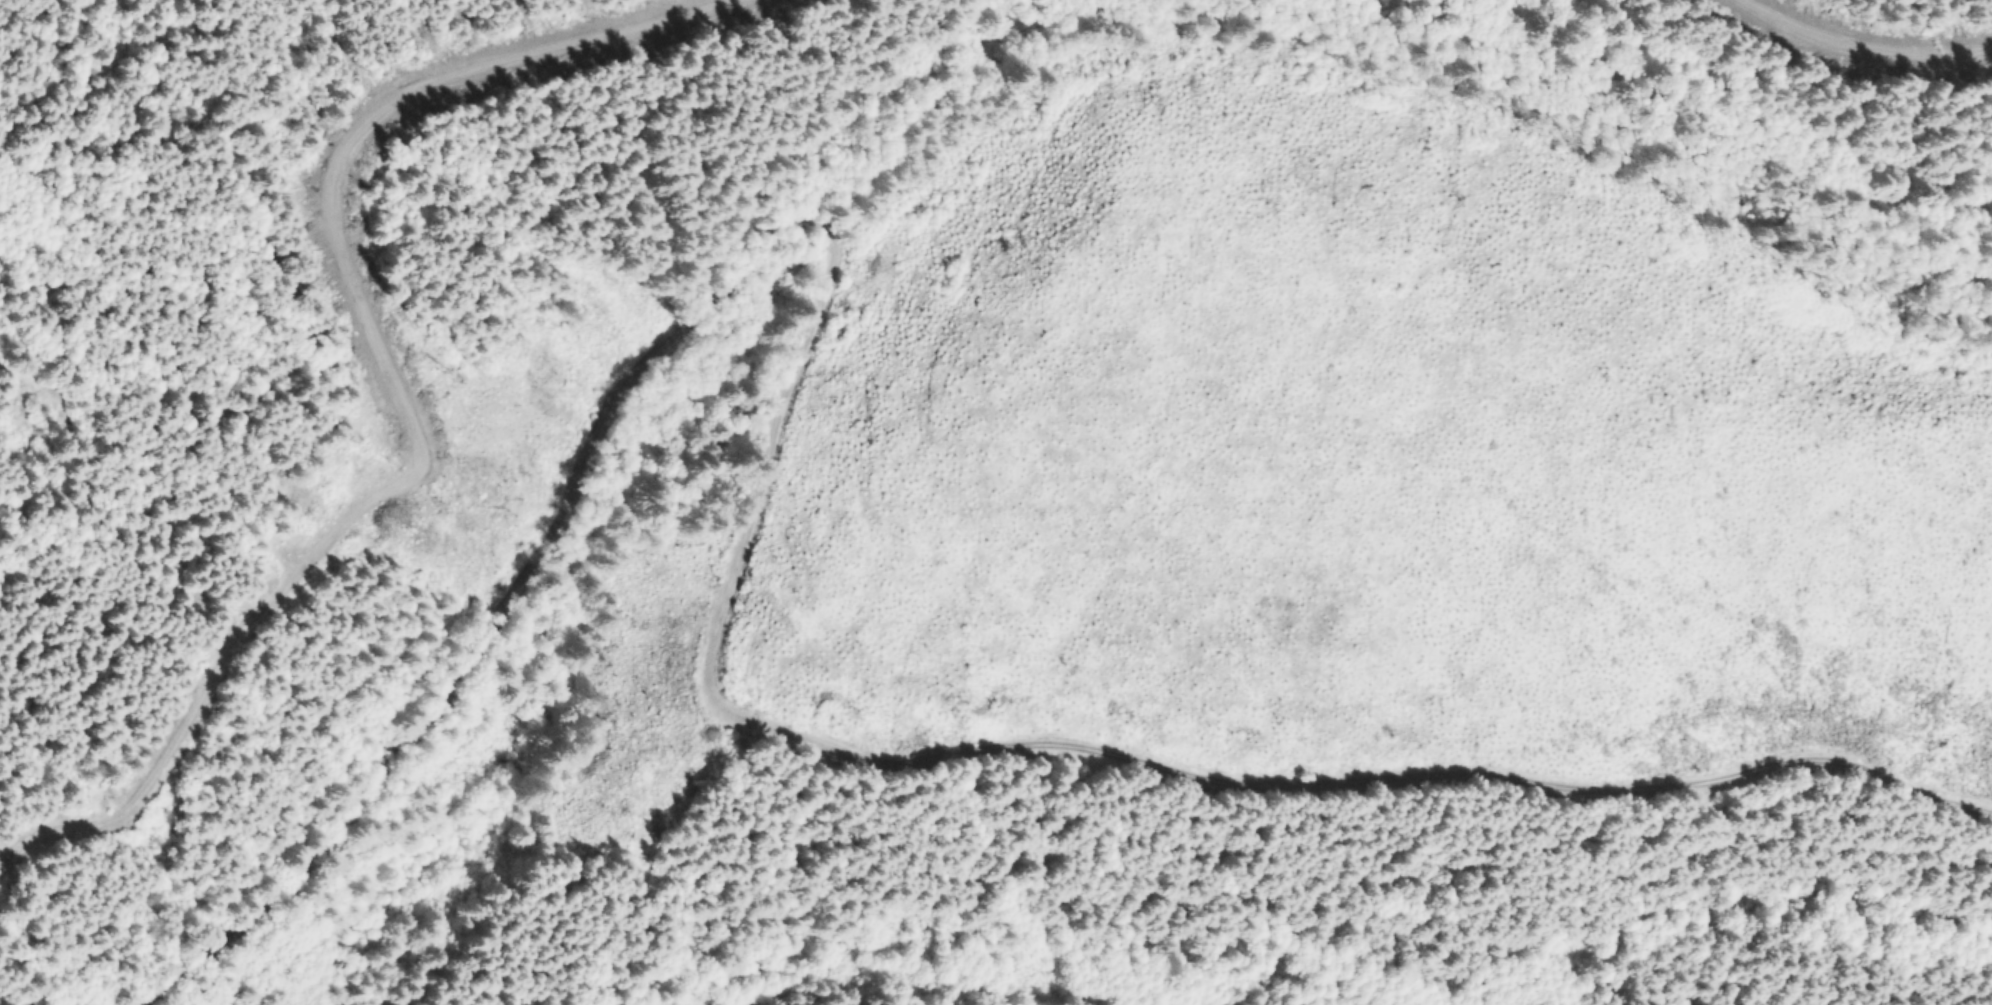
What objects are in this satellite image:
road: (731, 584)

